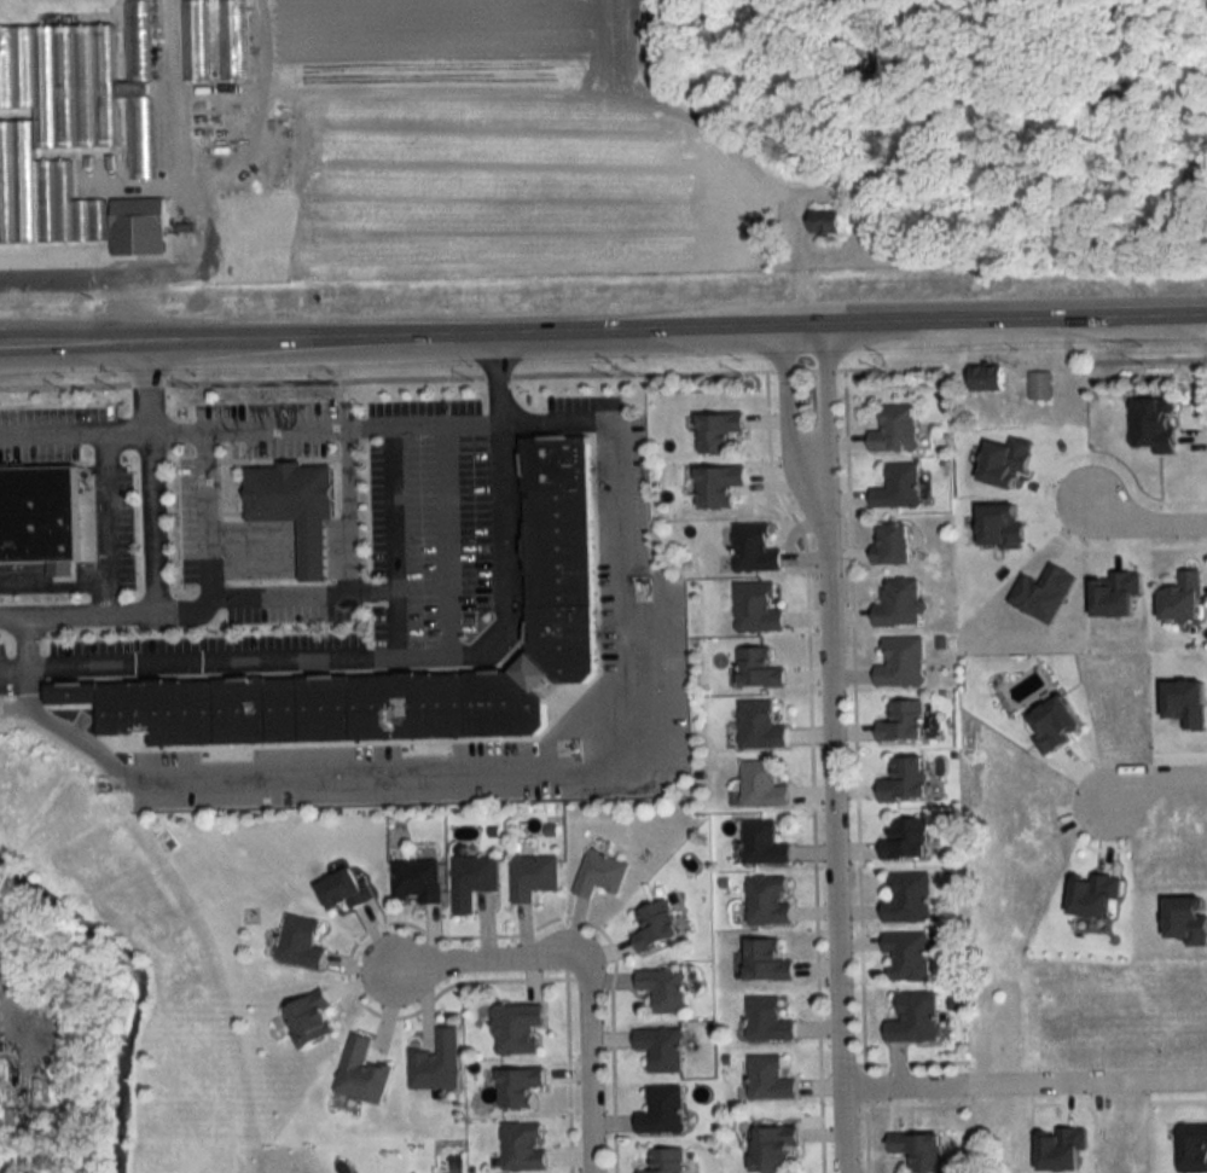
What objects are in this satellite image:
building: (195, 40)
building: (232, 40)
building: (66, 122)
crop: (504, 149)
building: (825, 222)
building: (137, 227)
road: (91, 272)
road: (603, 329)
road: (1149, 356)
road: (471, 373)
building: (987, 377)
building: (1039, 385)
road: (250, 424)
building: (1155, 424)
road: (826, 426)
building: (895, 430)
building: (719, 431)
road: (787, 431)
road: (151, 472)
building: (719, 486)
road: (621, 488)
building: (898, 488)
building: (295, 501)
road: (350, 506)
building: (37, 511)
road: (208, 511)
road: (108, 516)
road: (1145, 524)
road: (401, 534)
road: (452, 534)
building: (556, 541)
road: (280, 545)
building: (893, 545)
building: (754, 550)
road: (54, 579)
building: (1184, 598)
road: (202, 600)
building: (899, 604)
building: (756, 608)
road: (27, 629)
road: (402, 646)
building: (901, 663)
building: (759, 668)
building: (903, 721)
building: (760, 726)
road: (309, 770)
road: (1153, 778)
building: (905, 780)
building: (761, 785)
building: (905, 838)
building: (762, 844)
road: (841, 850)
building: (599, 873)
building: (532, 876)
building: (417, 881)
building: (472, 881)
building: (344, 889)
building: (907, 898)
building: (768, 901)
building: (655, 925)
building: (300, 942)
building: (905, 956)
road: (488, 960)
building: (766, 962)
building: (663, 989)
building: (913, 1017)
building: (311, 1018)
building: (768, 1021)
building: (517, 1028)
building: (661, 1049)
building: (437, 1064)
road: (588, 1064)
building: (362, 1073)
building: (770, 1079)
road: (1029, 1084)
building: (518, 1087)
building: (662, 1110)
building: (524, 1146)
building: (772, 1148)
building: (1193, 1148)
building: (918, 1150)
building: (665, 1161)

